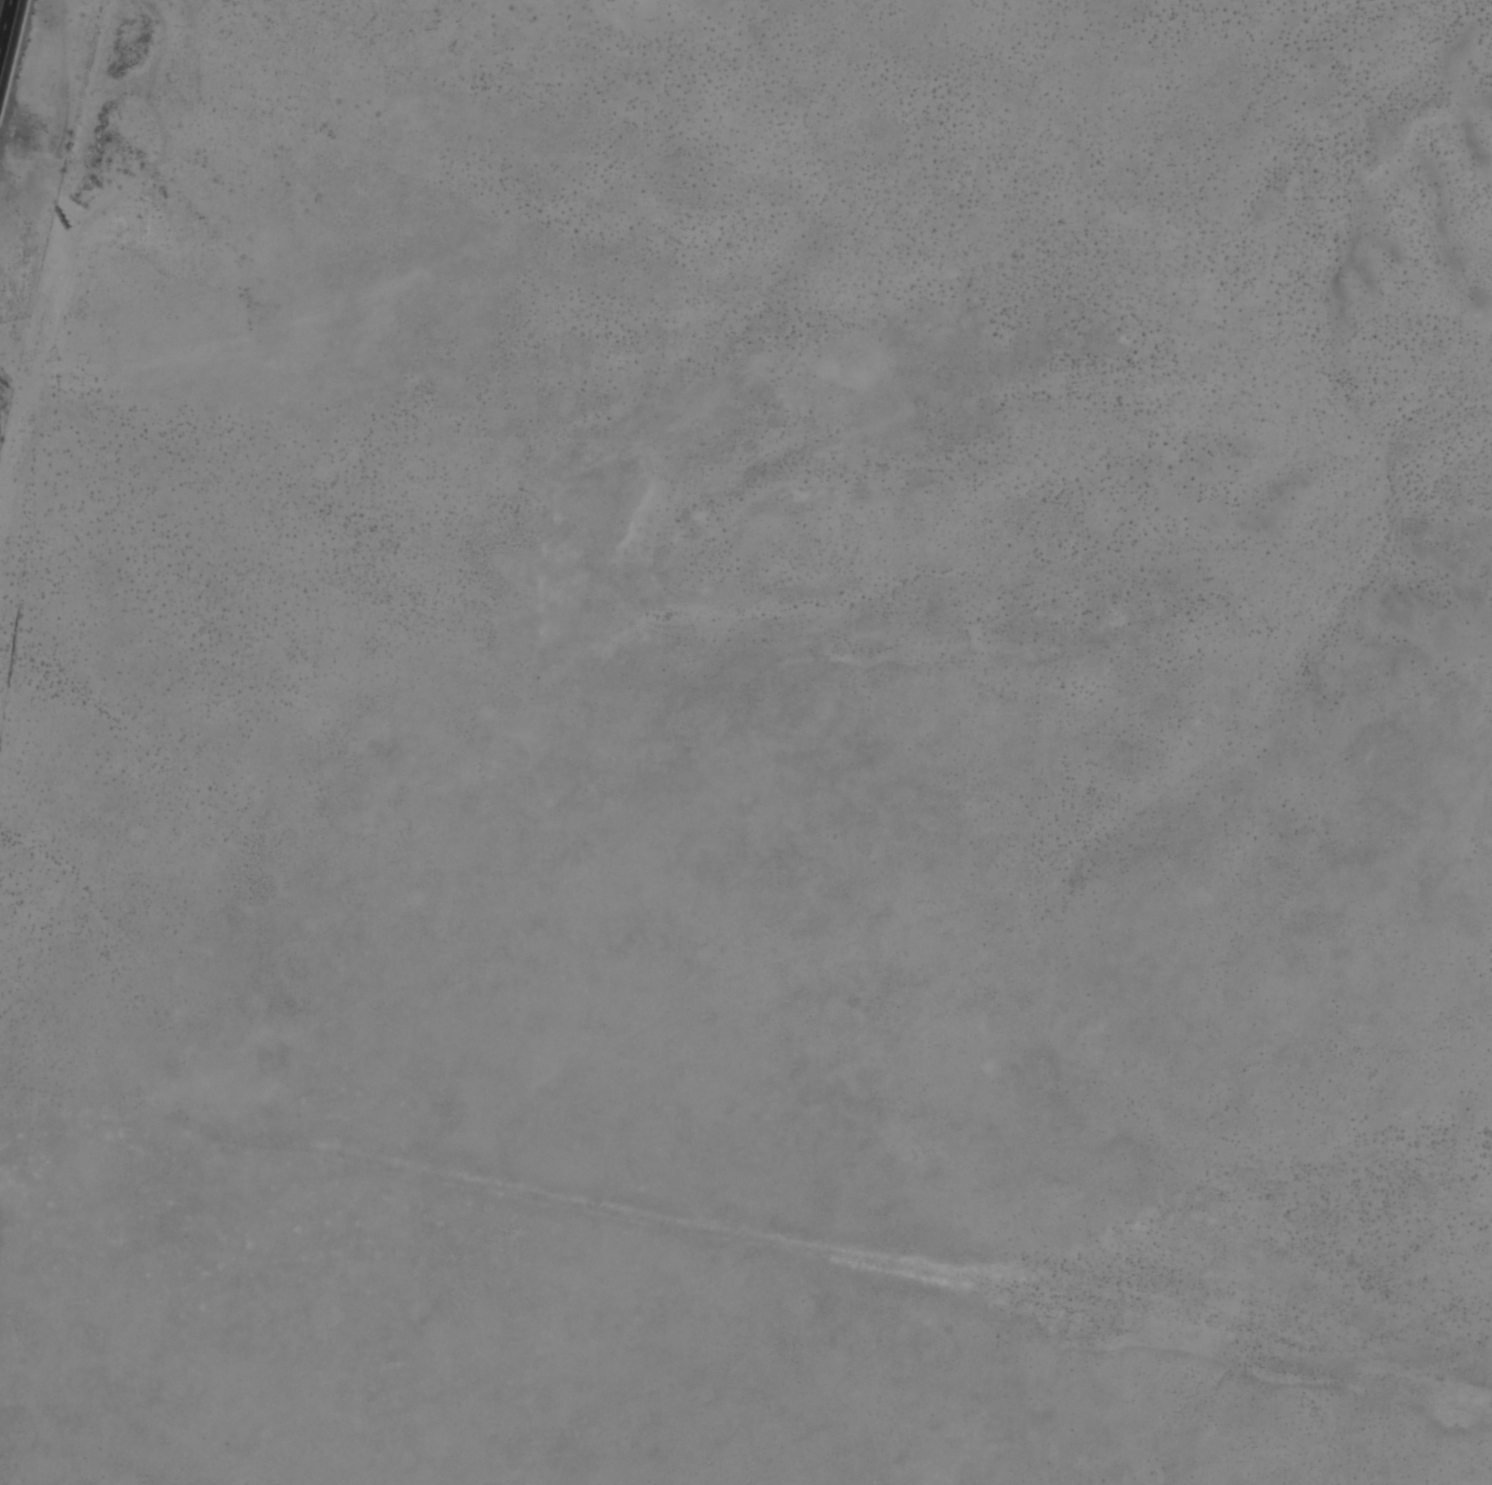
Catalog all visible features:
road: (7, 30)

